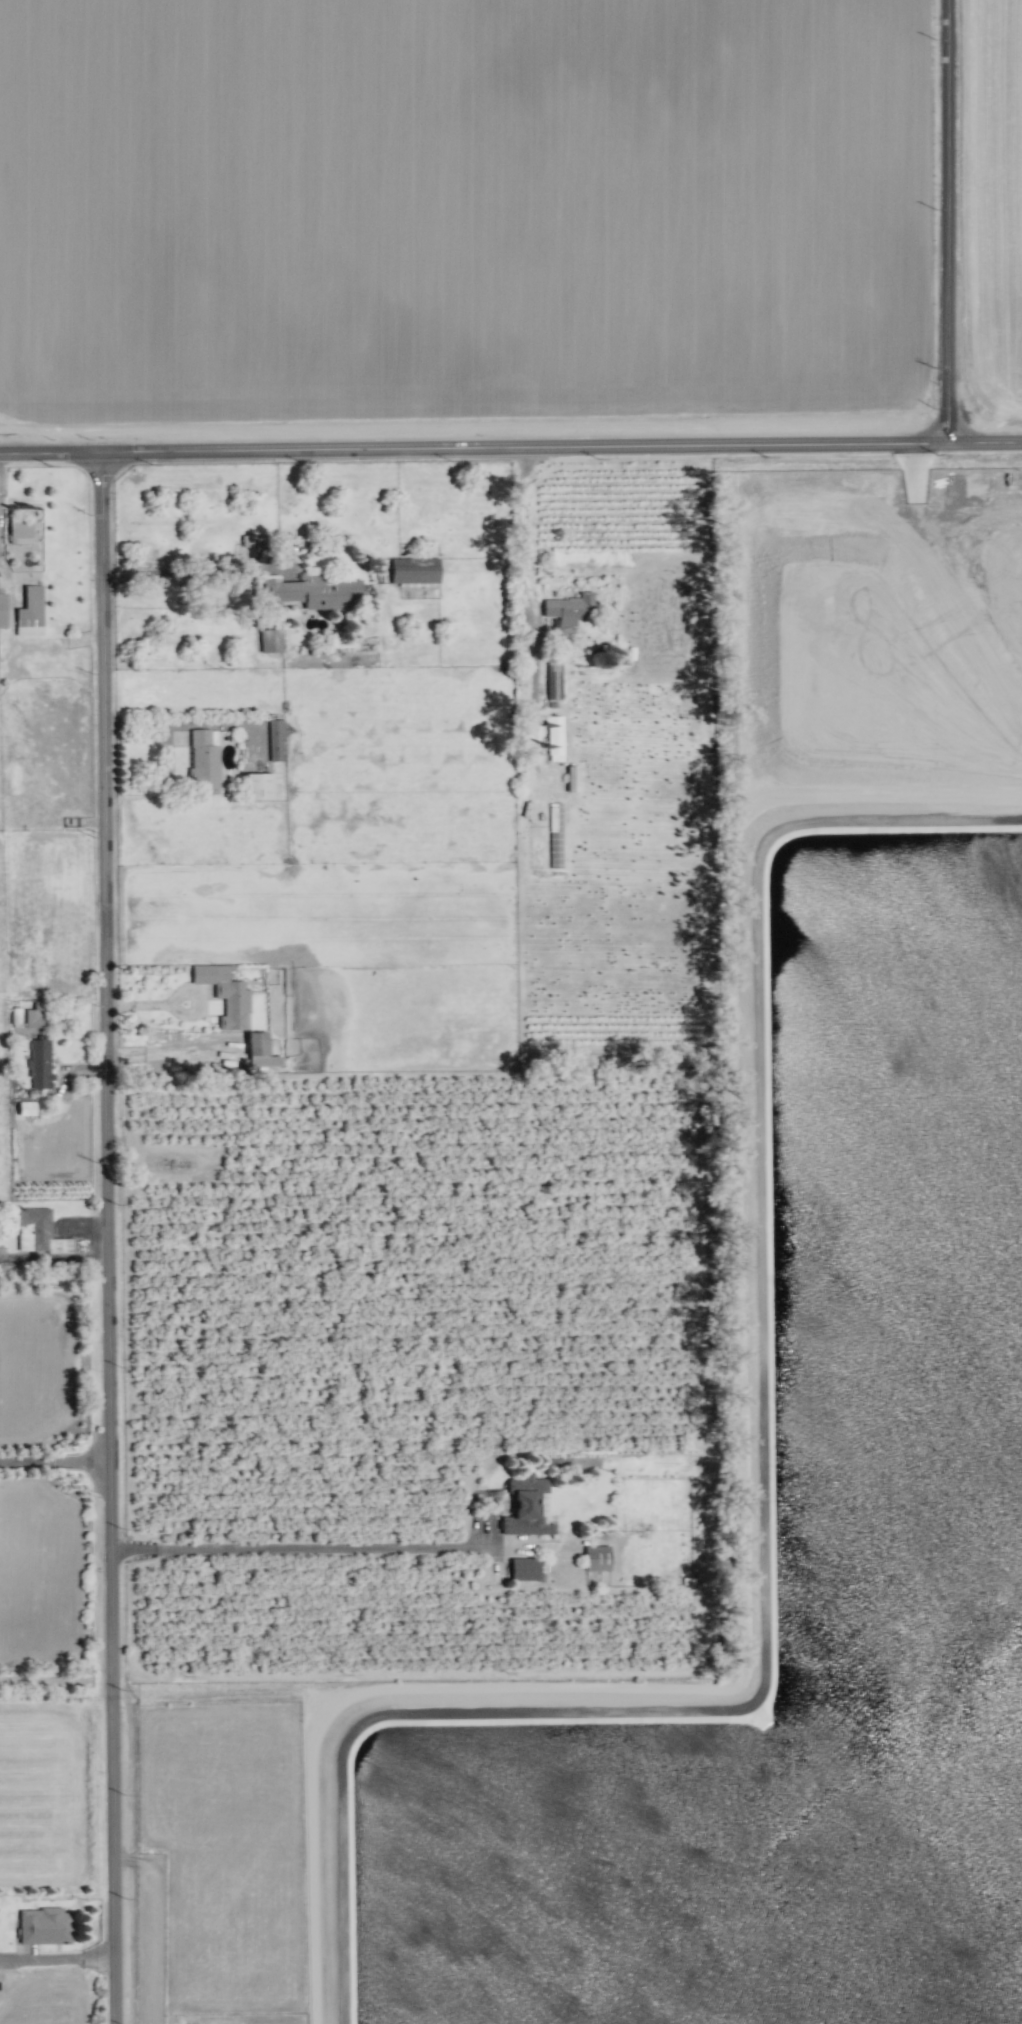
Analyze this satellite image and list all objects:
road: (950, 222)
road: (510, 449)
road: (521, 527)
building: (19, 532)
road: (185, 569)
building: (414, 572)
building: (312, 592)
building: (2, 607)
building: (569, 608)
building: (30, 612)
building: (553, 681)
building: (554, 738)
building: (274, 740)
building: (204, 761)
building: (571, 779)
building: (258, 786)
building: (555, 835)
building: (225, 994)
building: (33, 1016)
building: (259, 1052)
building: (38, 1062)
building: (25, 1108)
building: (41, 1230)
road: (106, 1238)
road: (54, 1463)
building: (527, 1507)
road: (298, 1547)
building: (596, 1558)
building: (524, 1569)
road: (152, 1923)
building: (44, 1926)
road: (56, 1962)

